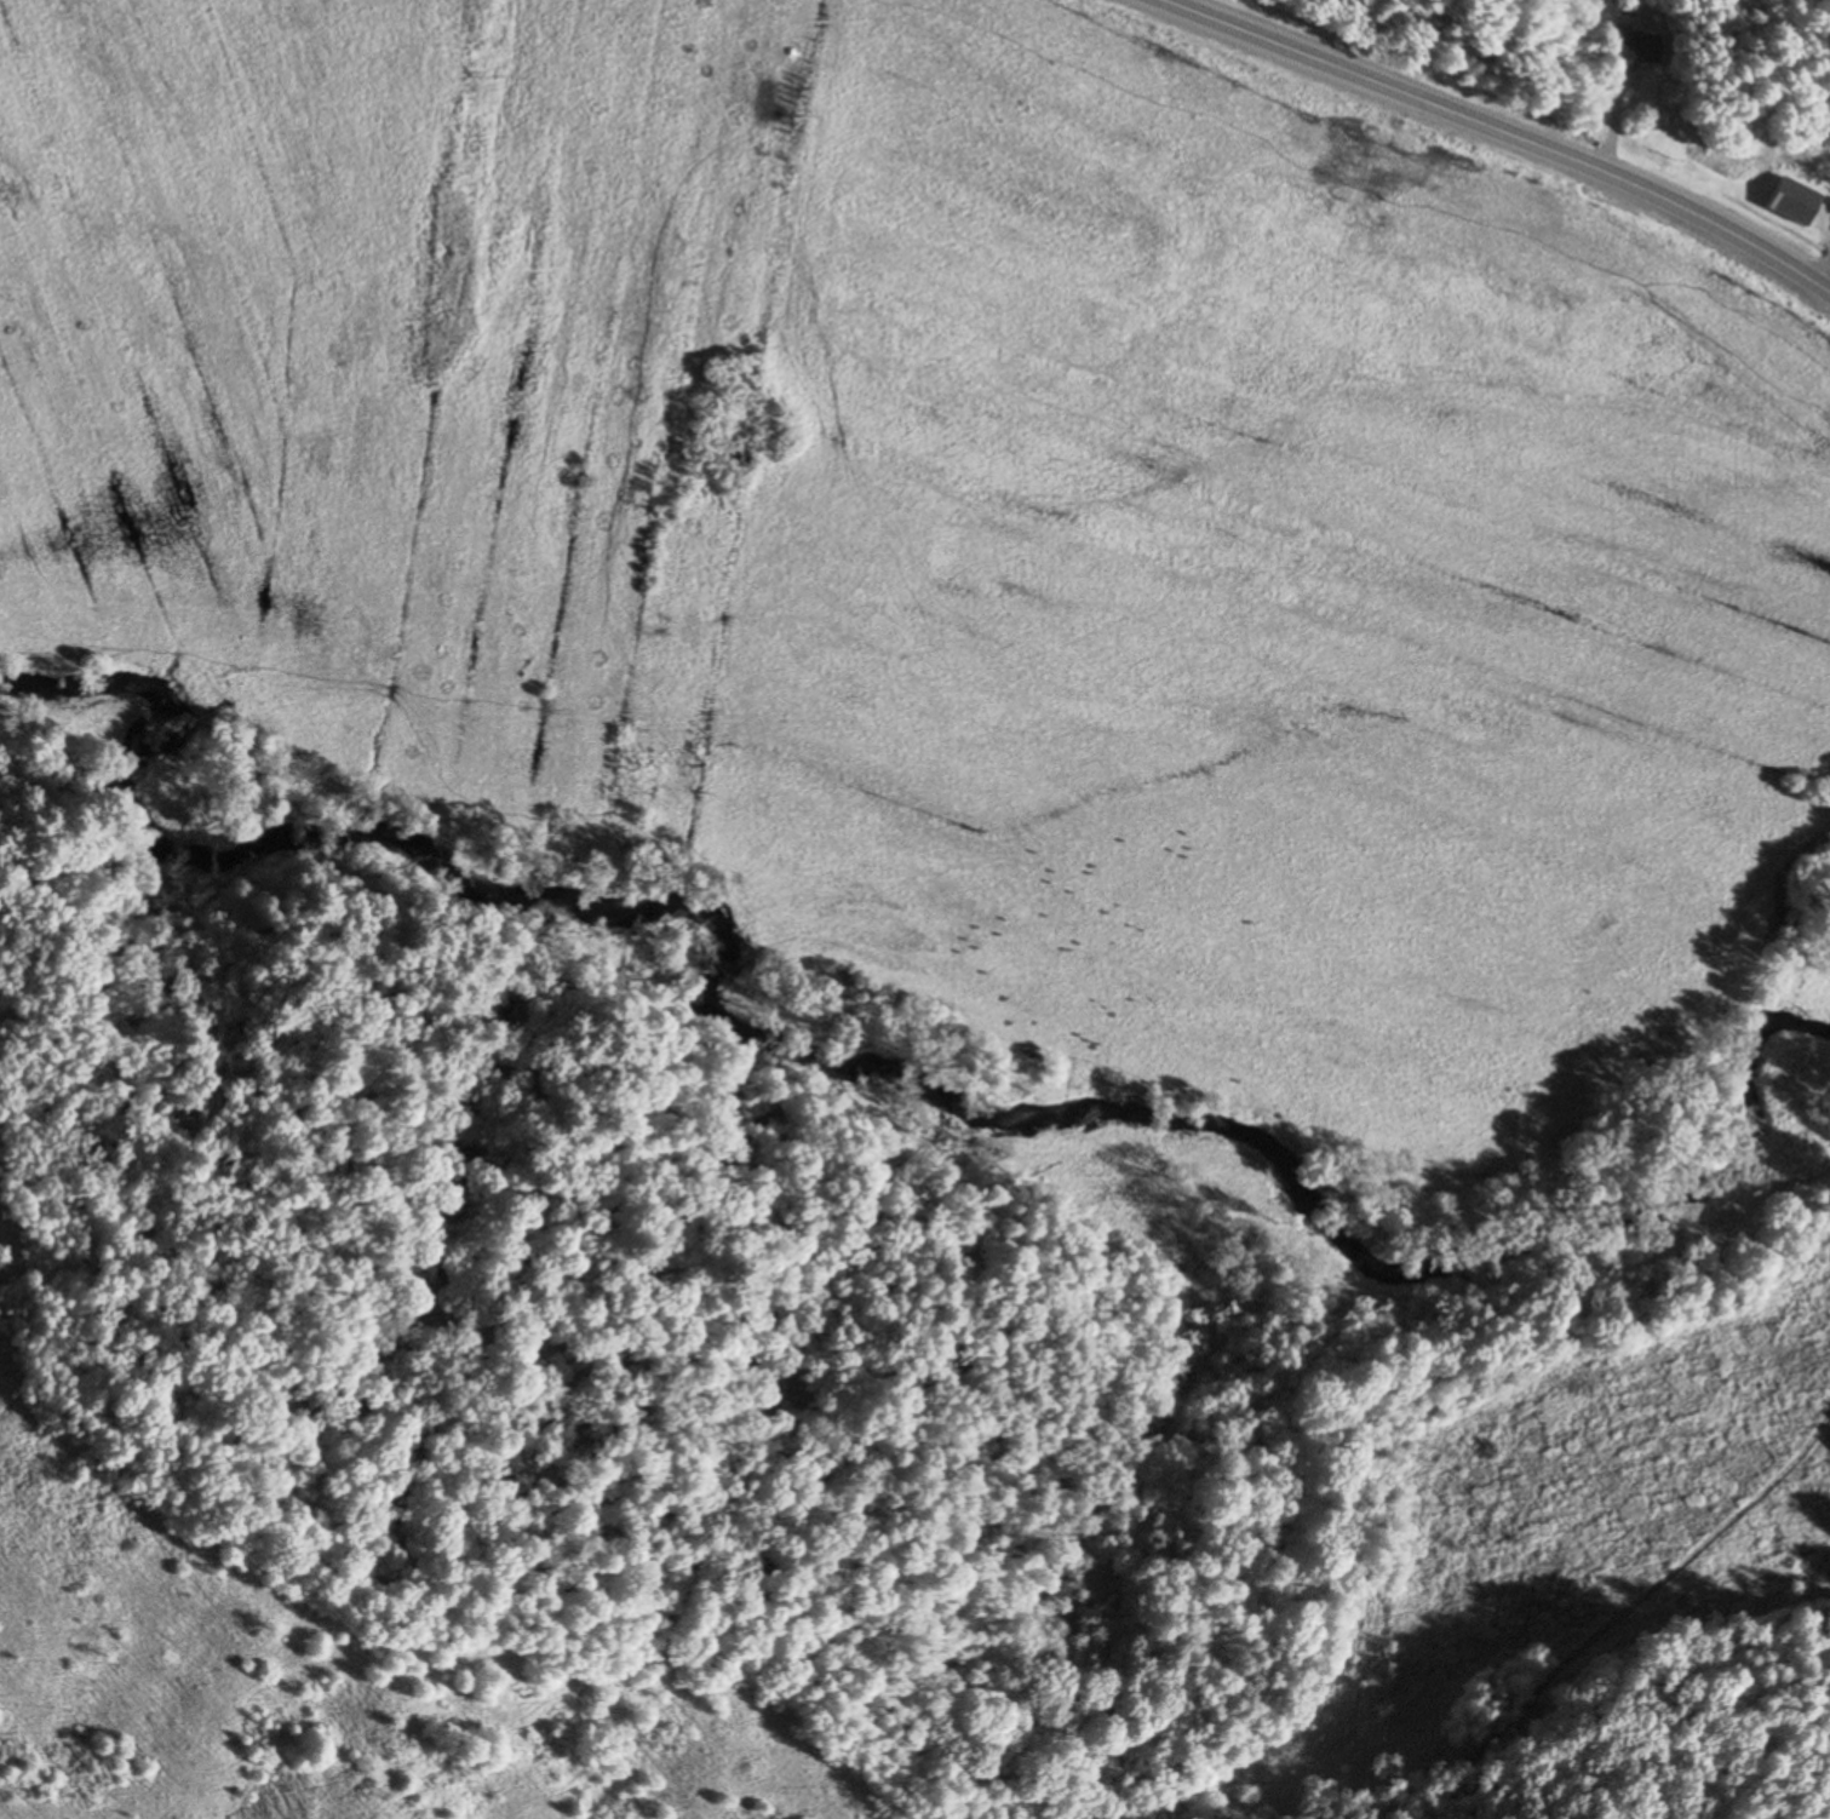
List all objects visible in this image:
building: (1628, 47)
road: (1497, 134)
building: (1790, 201)

